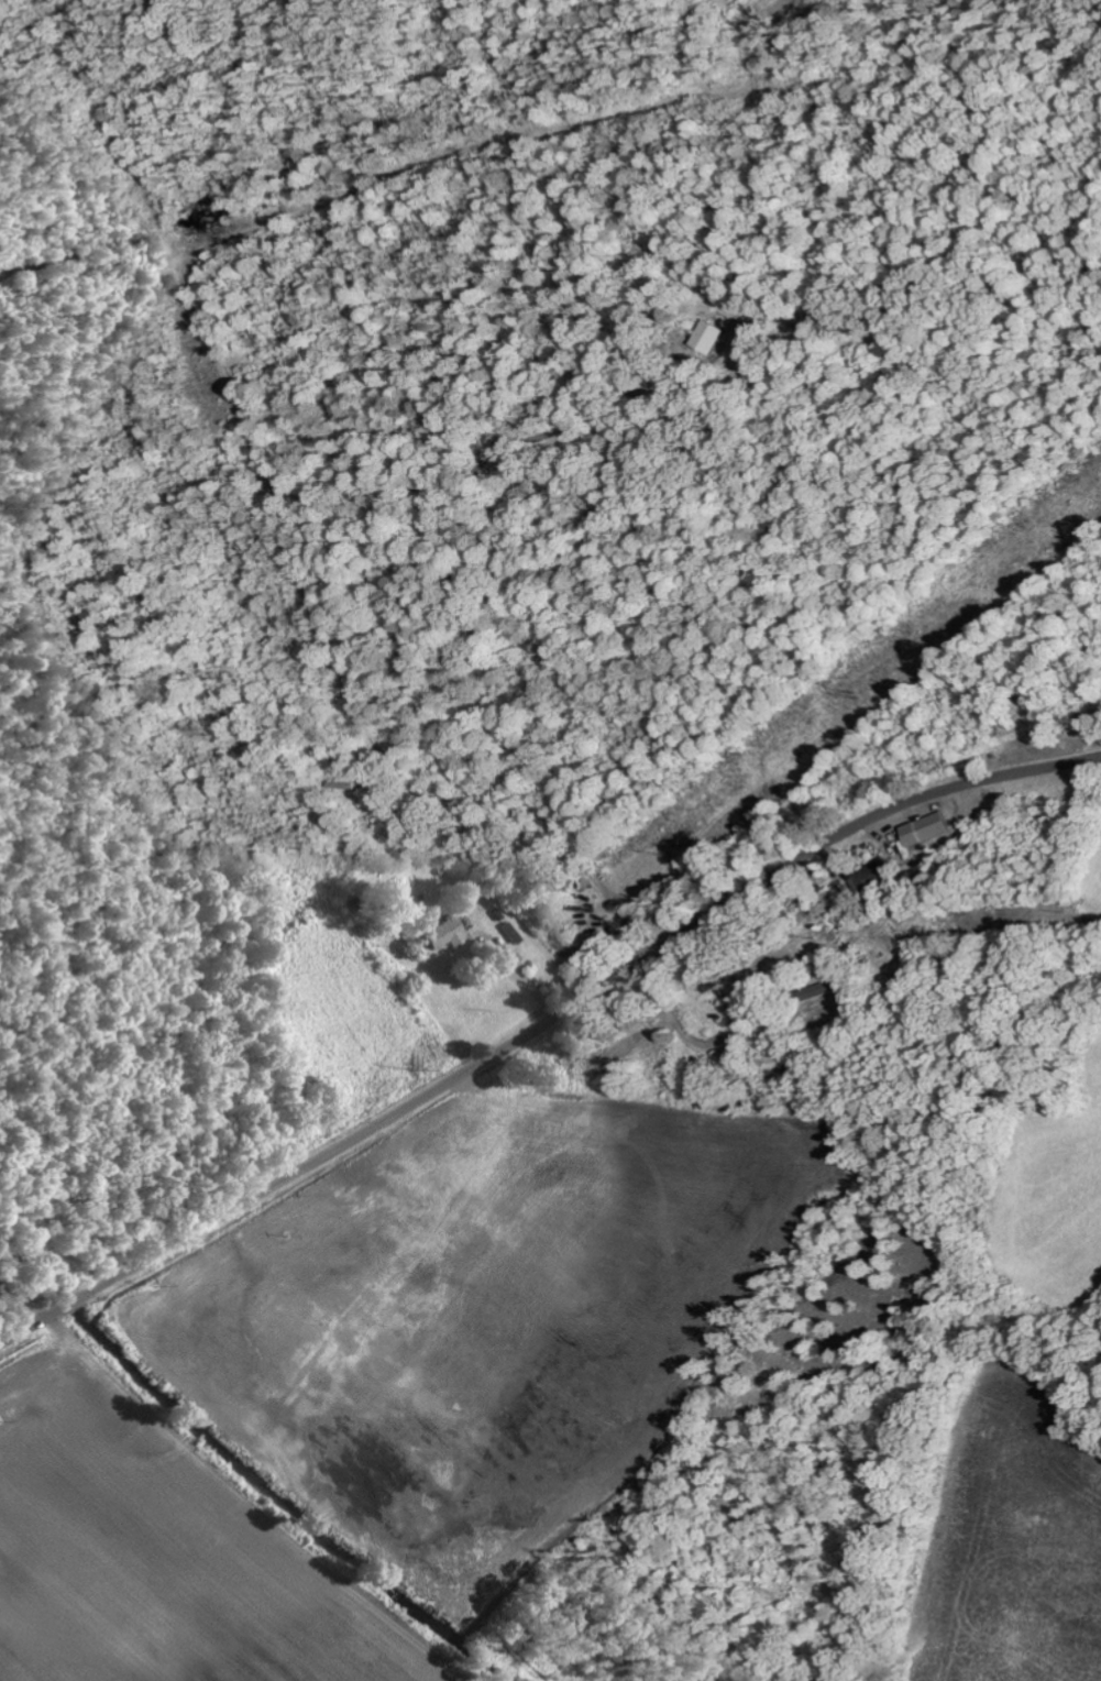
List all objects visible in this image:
road: (129, 10)
building: (715, 338)
road: (283, 496)
building: (933, 828)
building: (878, 877)
building: (445, 933)
building: (822, 990)
road: (540, 1023)
building: (785, 1074)

